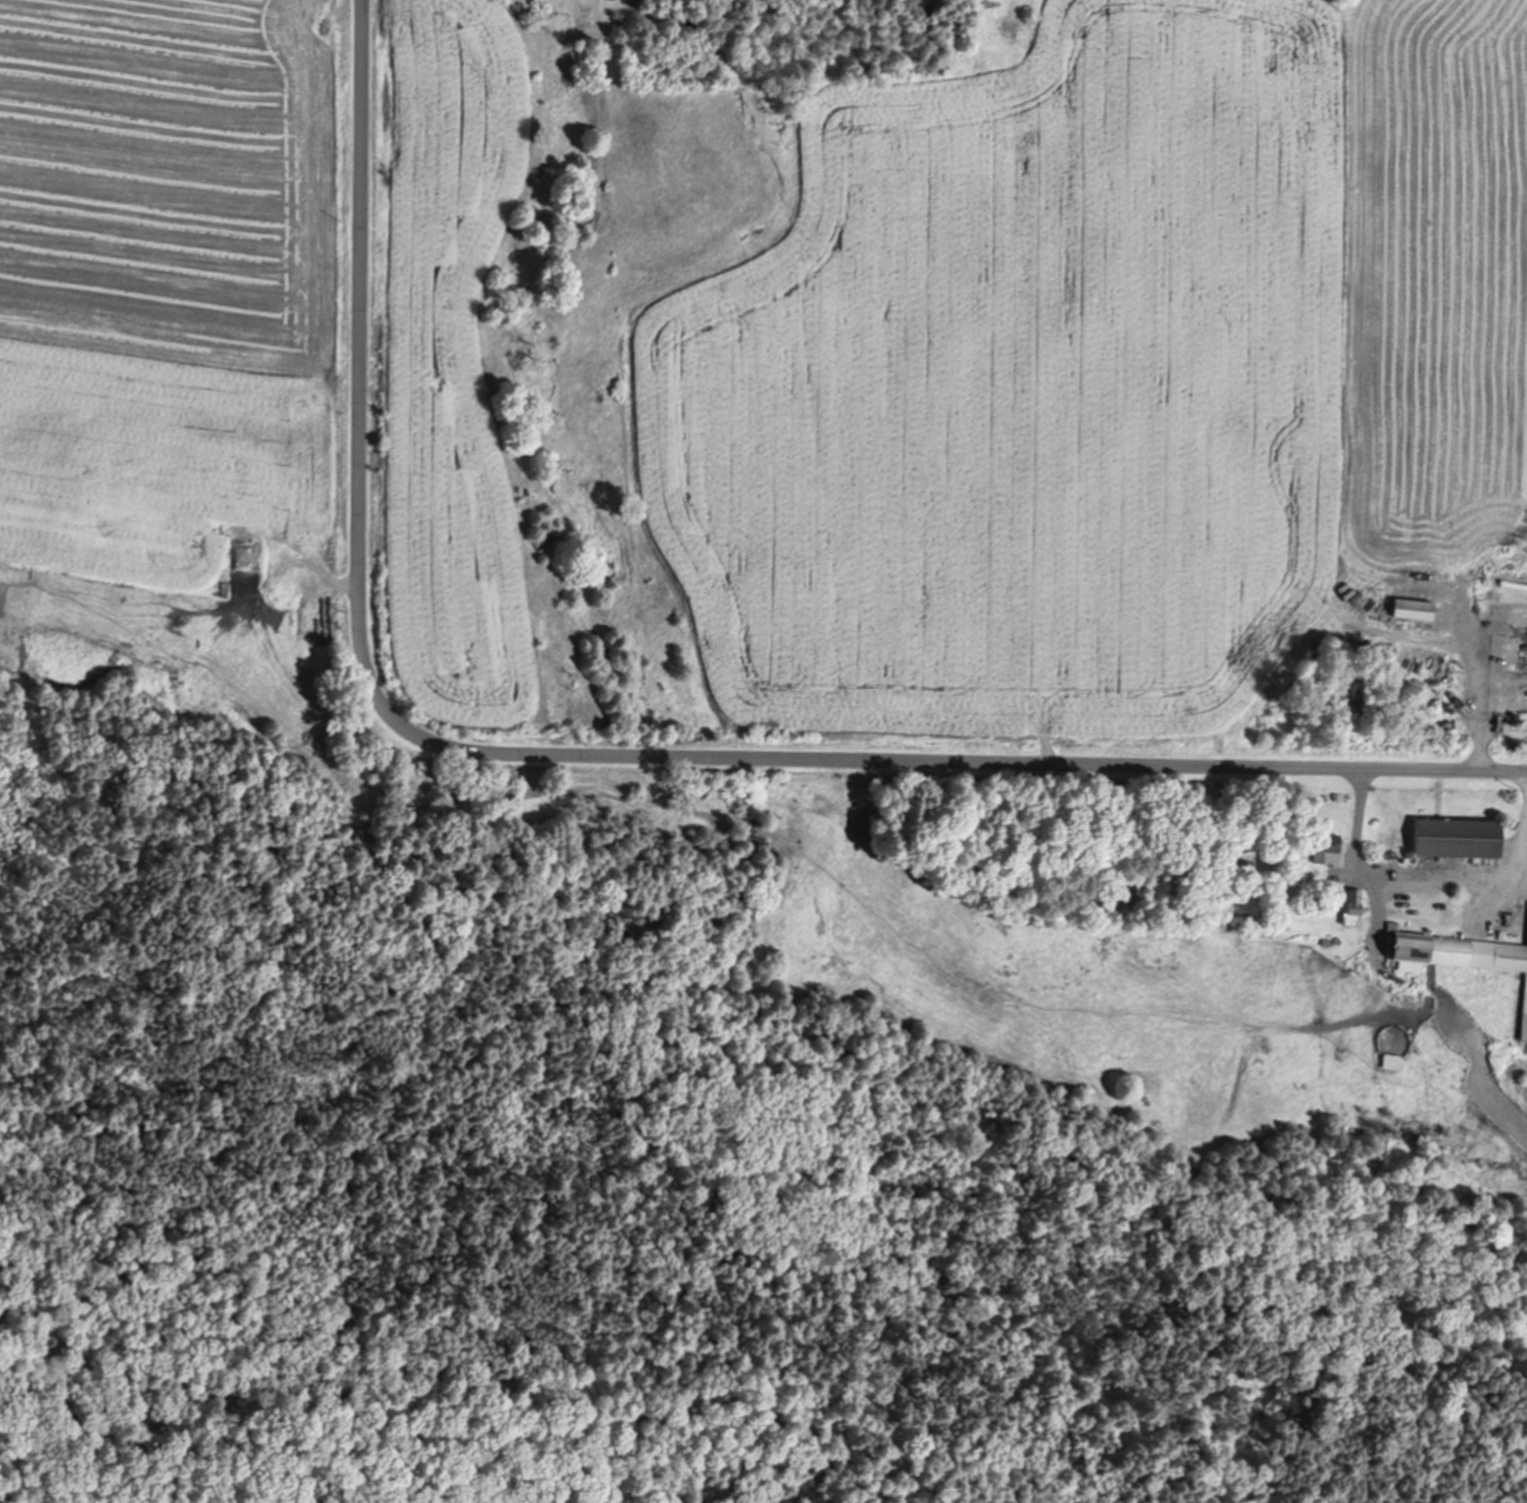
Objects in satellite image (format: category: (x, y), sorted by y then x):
building: (104, 420)
building: (144, 424)
building: (58, 448)
road: (594, 753)
building: (1459, 835)
building: (1327, 843)
road: (1409, 873)
building: (1354, 905)
building: (1477, 920)
building: (1286, 921)
building: (1395, 924)
building: (1502, 933)
building: (1328, 942)
building: (1463, 948)
building: (1524, 1014)
building: (1393, 1056)

